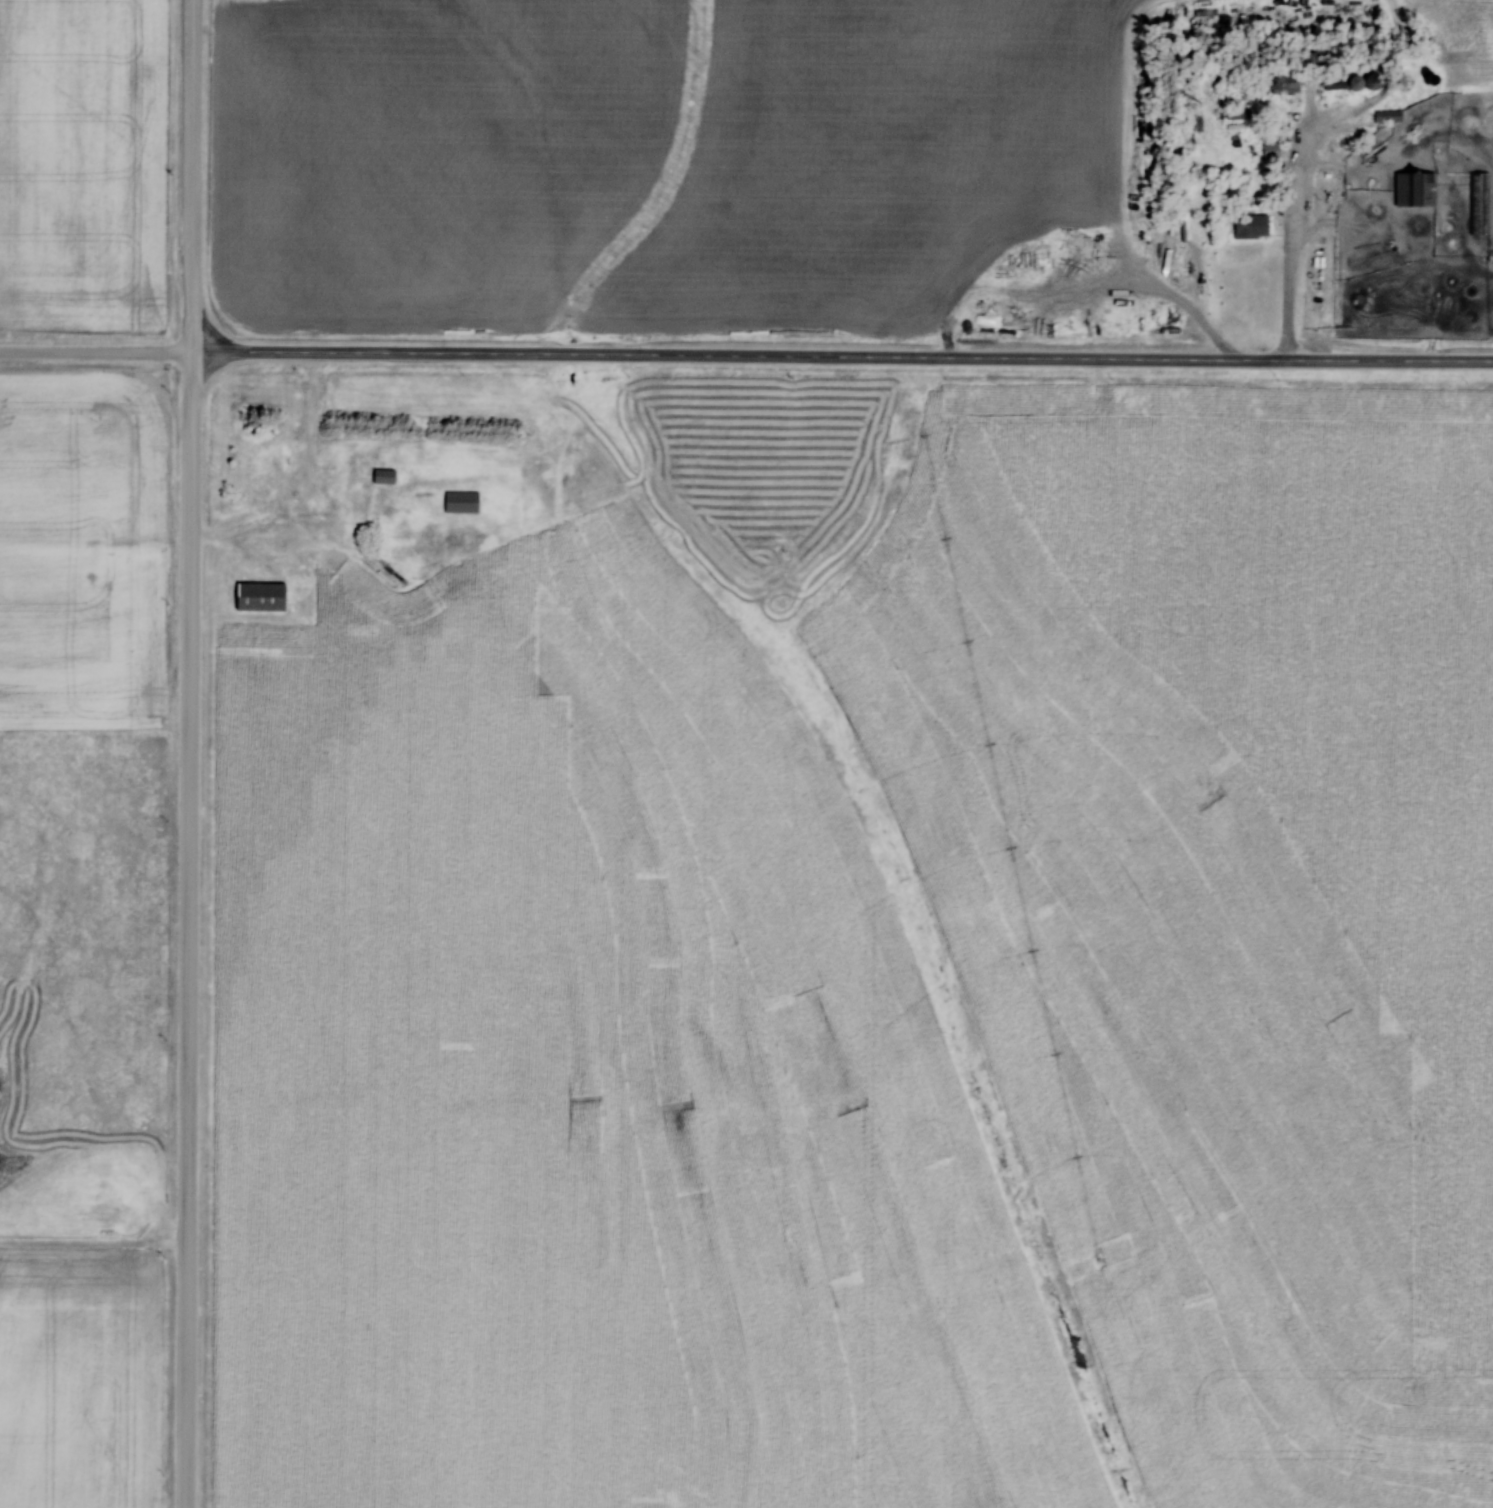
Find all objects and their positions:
building: (1339, 81)
building: (1402, 81)
building: (1288, 82)
building: (1387, 115)
building: (1270, 148)
building: (1414, 188)
building: (1480, 202)
building: (1249, 226)
road: (99, 348)
road: (845, 352)
building: (383, 474)
building: (461, 500)
building: (280, 538)
building: (259, 595)
road: (195, 754)

